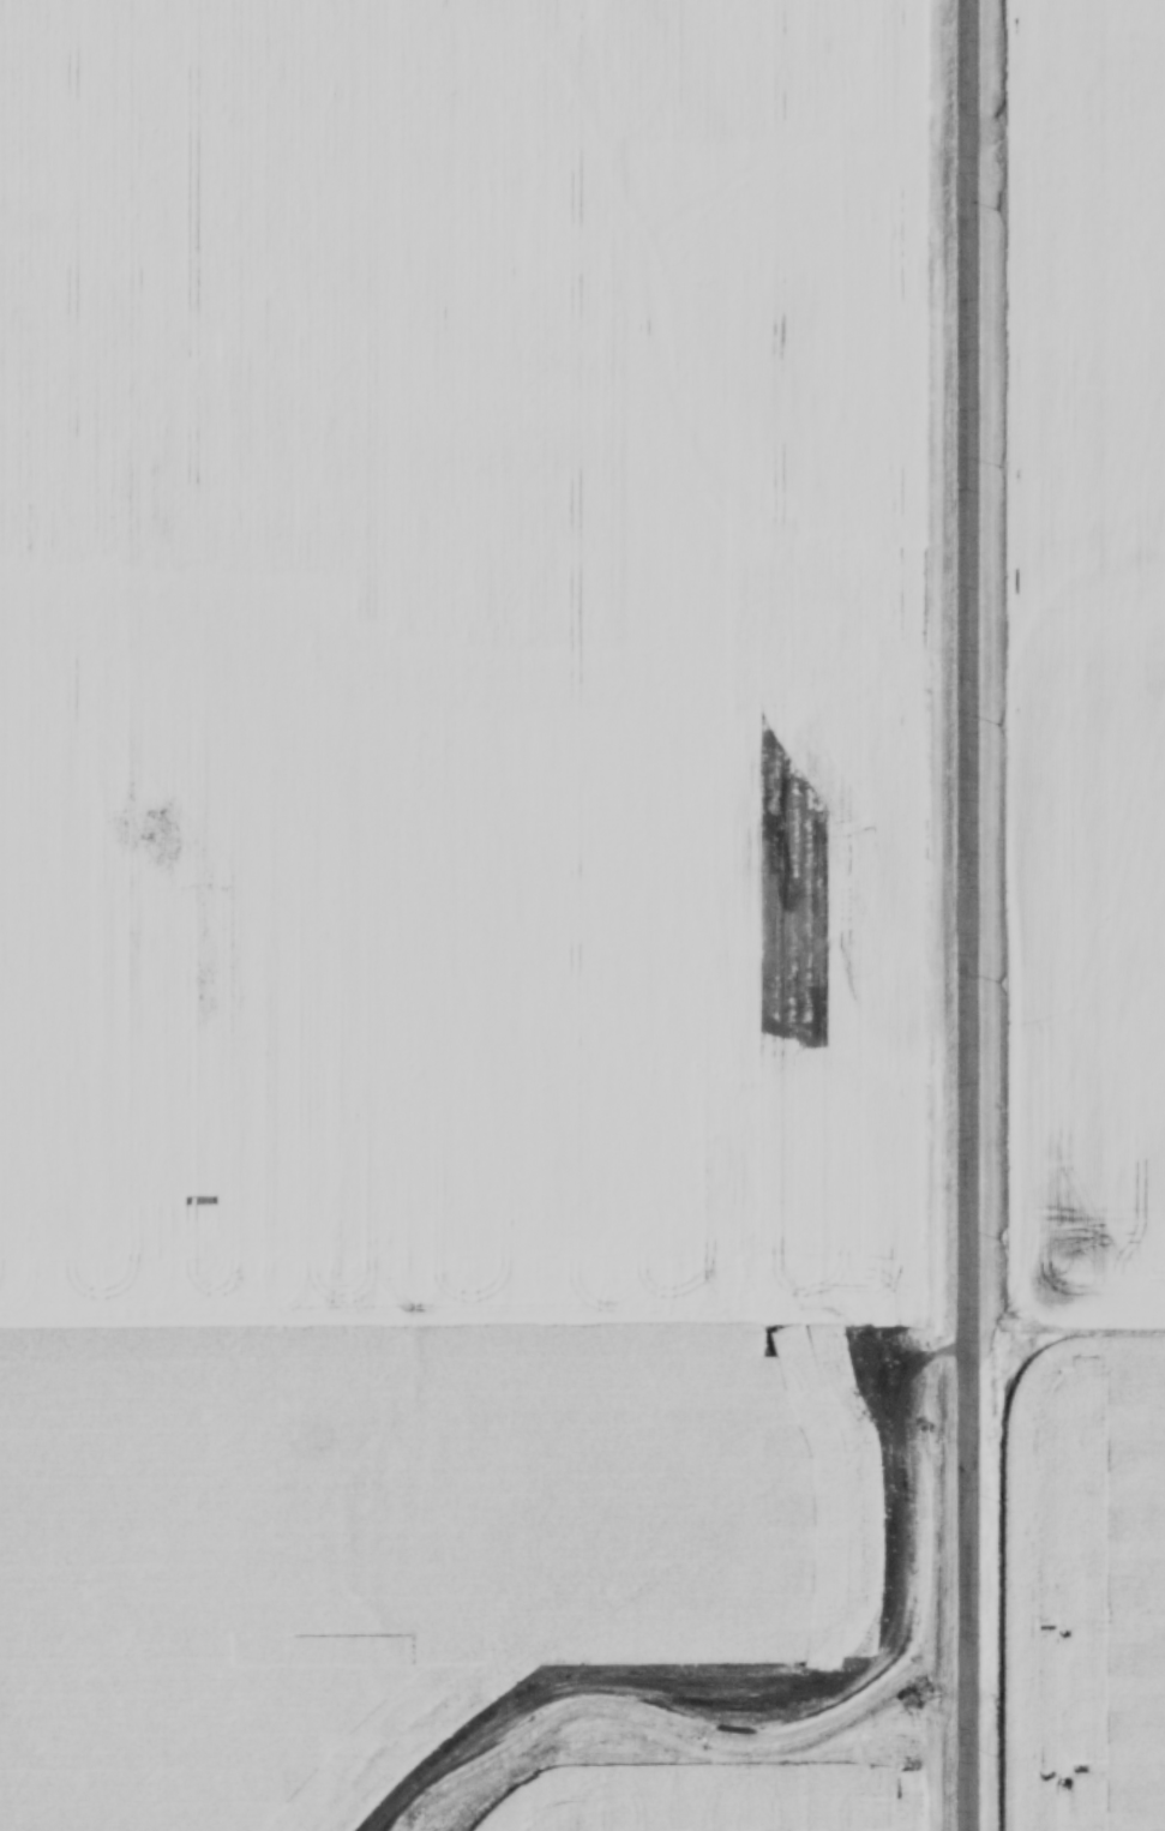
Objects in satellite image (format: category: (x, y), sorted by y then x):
road: (968, 916)

